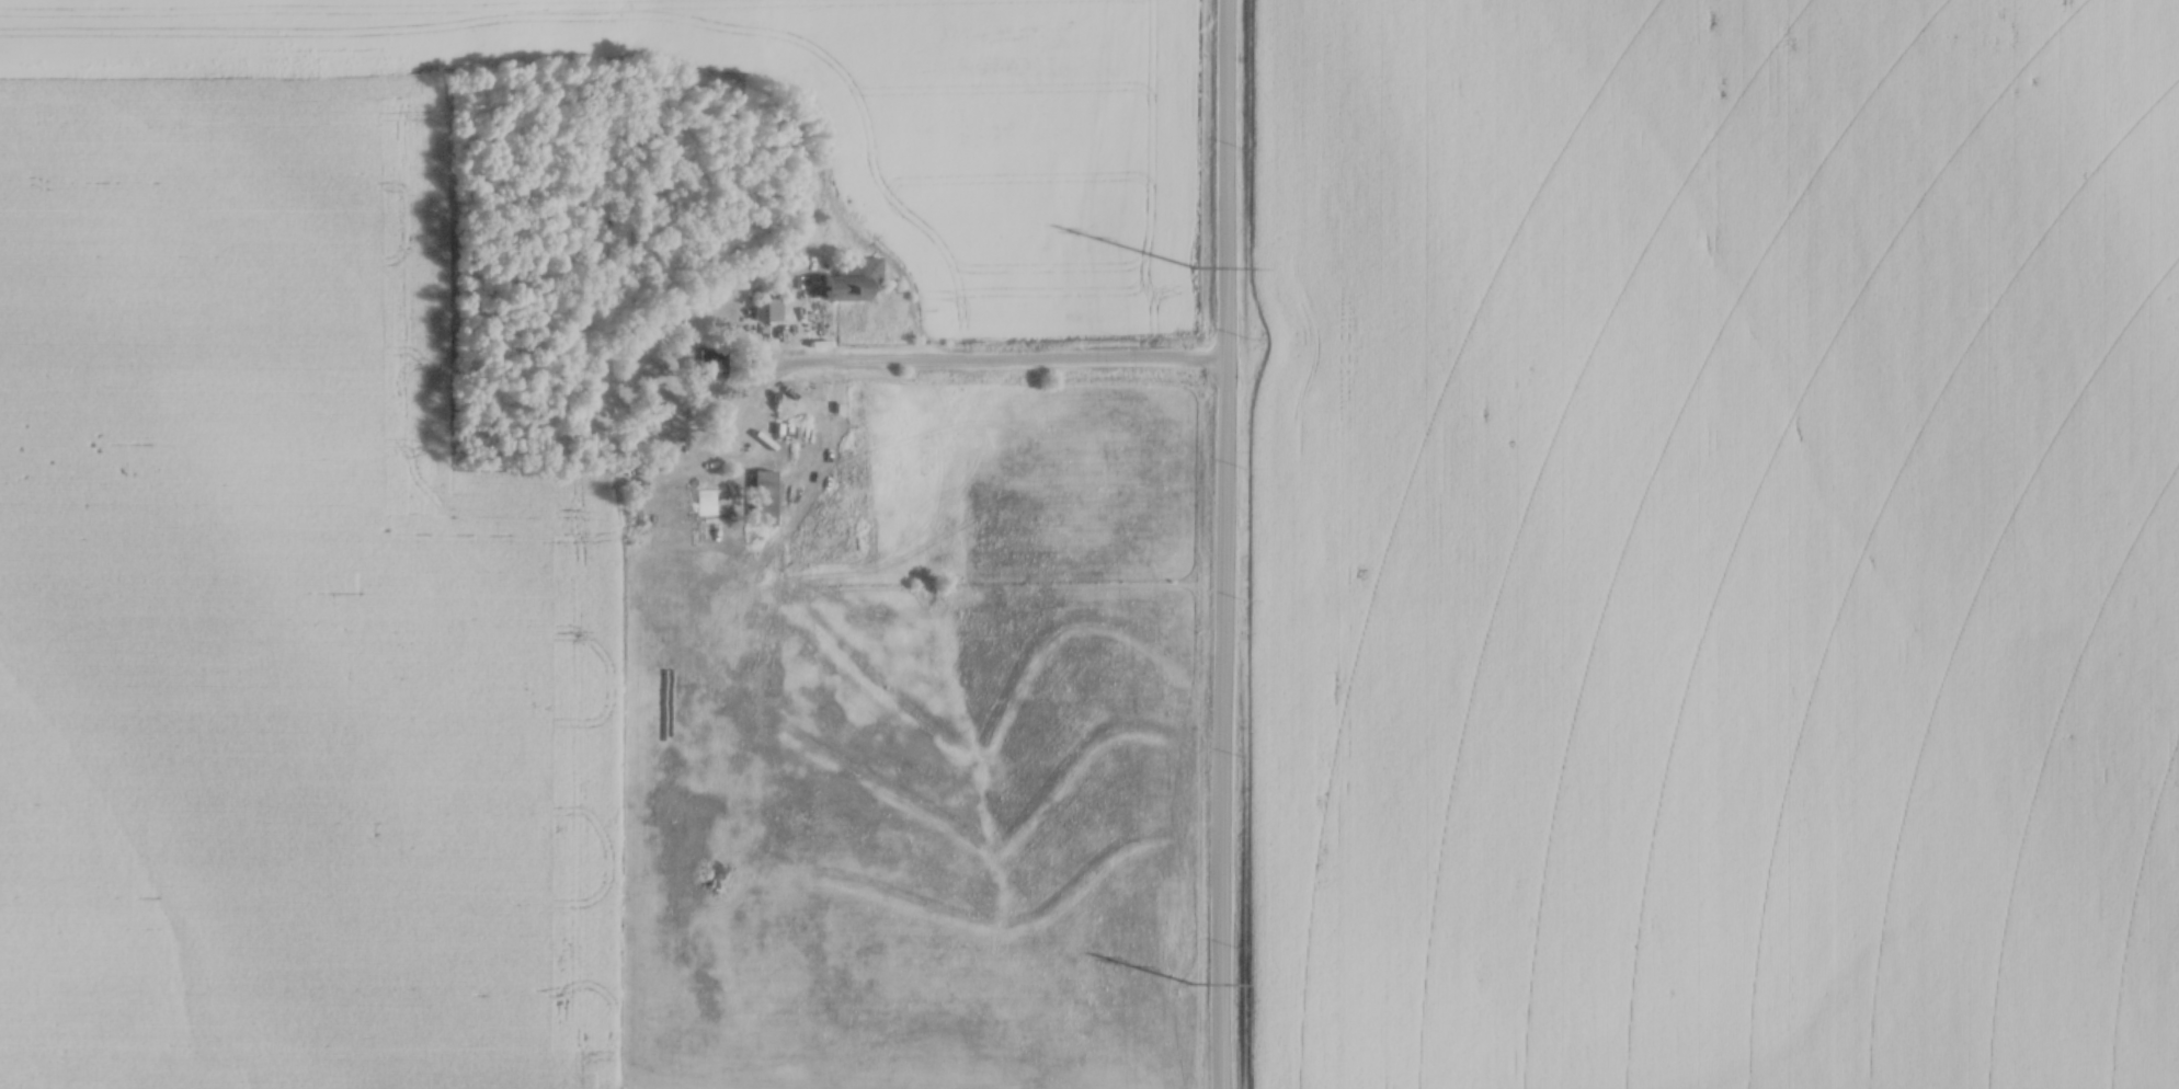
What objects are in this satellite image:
power tower: (1193, 266)
building: (849, 278)
building: (767, 310)
building: (709, 359)
road: (999, 367)
building: (761, 497)
road: (1224, 543)
power tower: (1190, 983)

